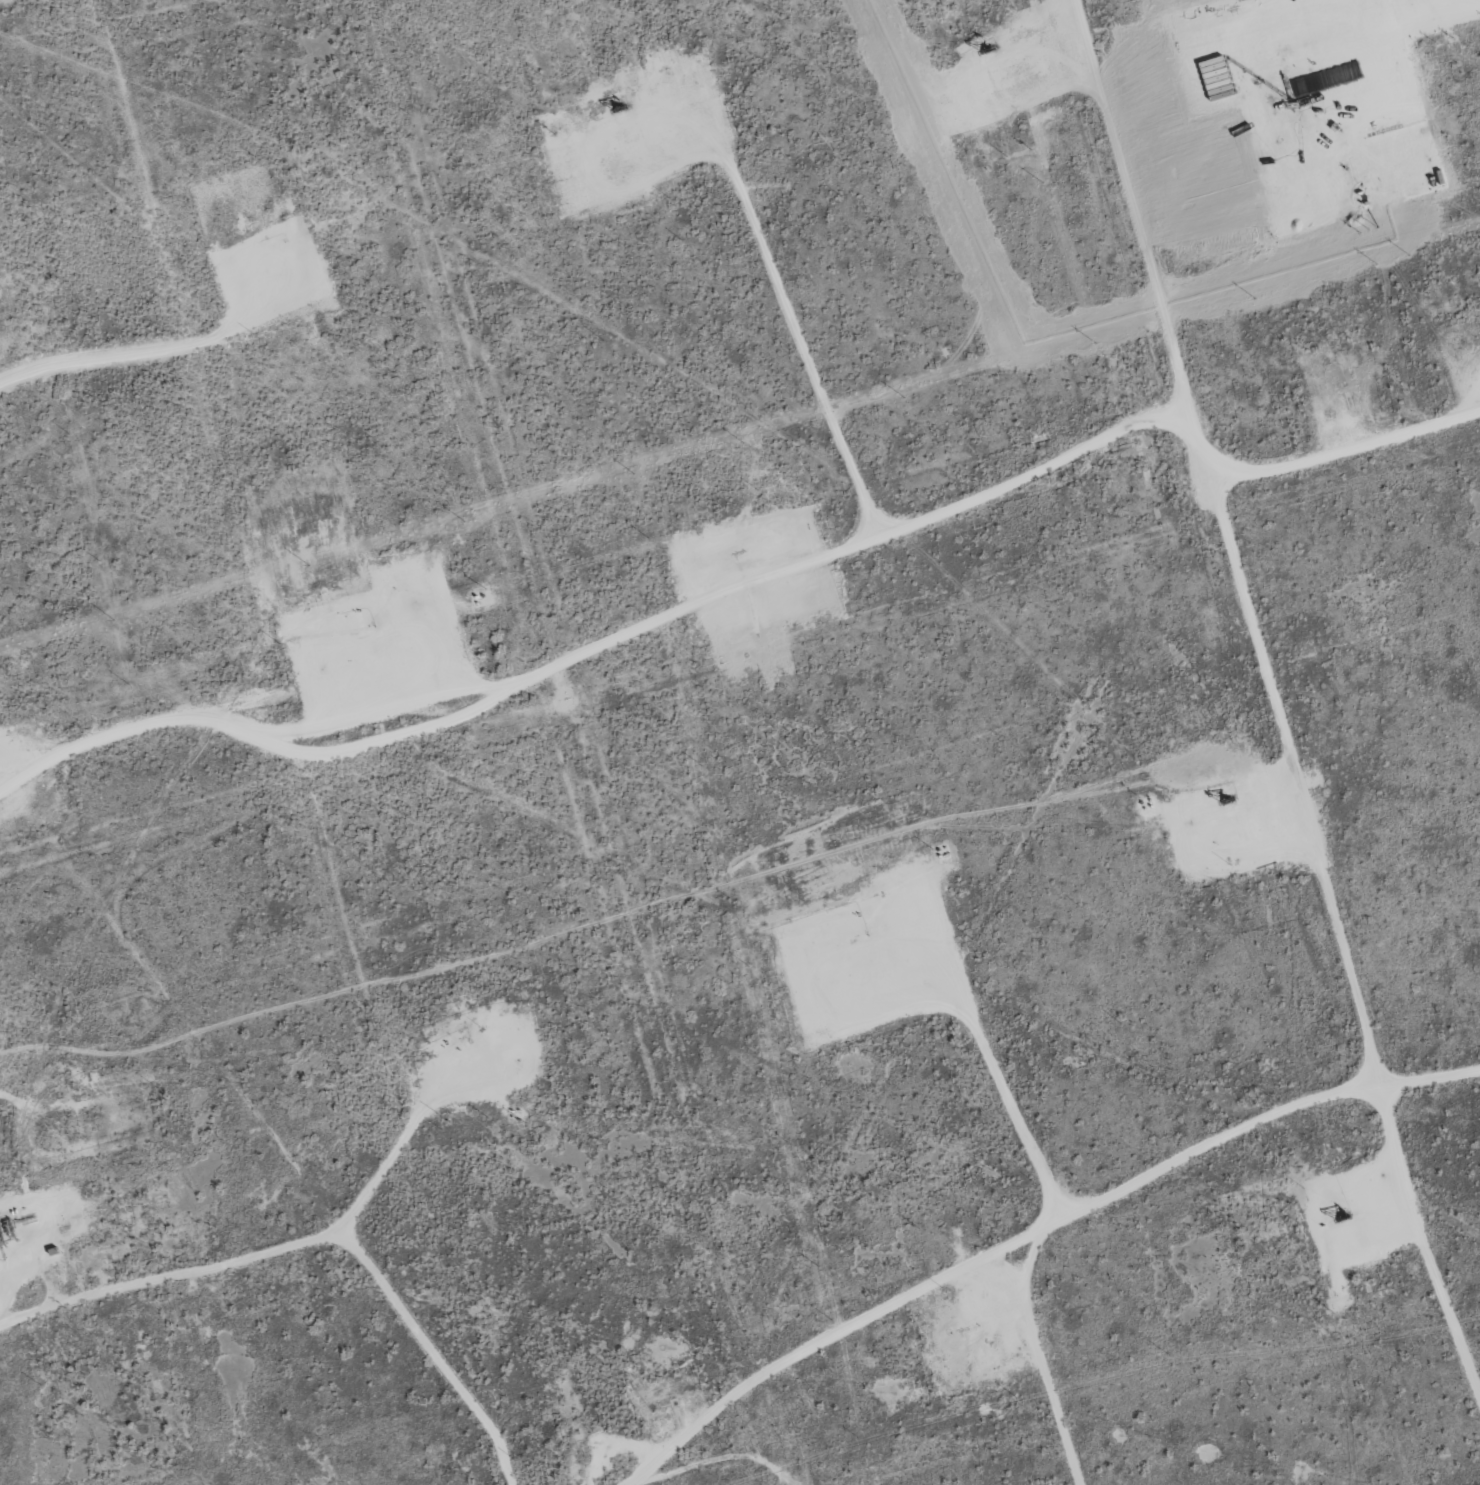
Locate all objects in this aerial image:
road: (4, 1)
building: (1288, 175)
road: (1348, 446)
road: (1233, 547)
road: (602, 637)
road: (1033, 1234)
road: (316, 1241)

